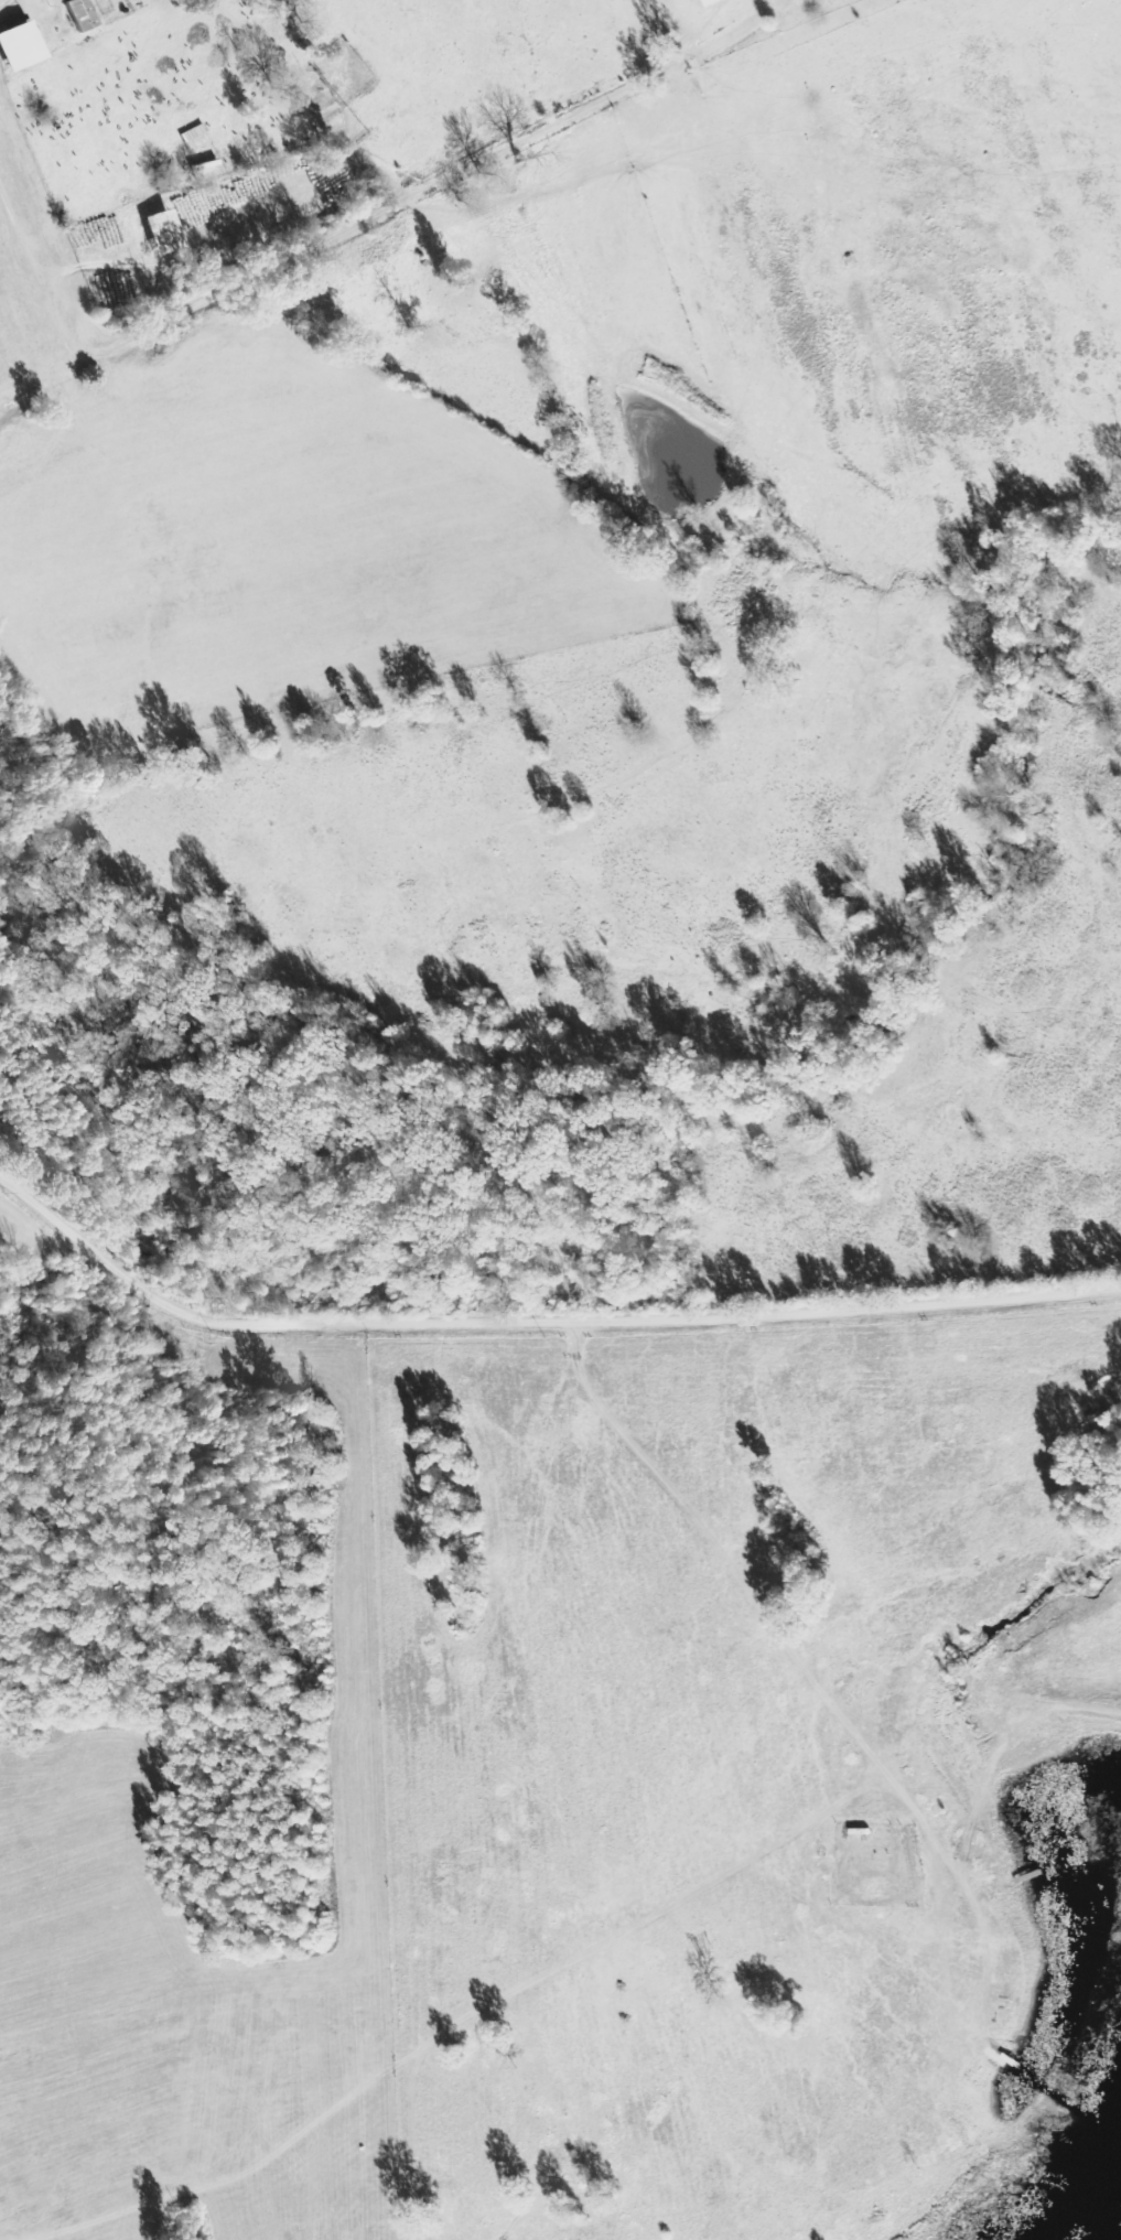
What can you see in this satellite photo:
building: (712, 2)
building: (76, 13)
building: (20, 45)
building: (164, 231)
road: (536, 1322)
road: (689, 1887)

